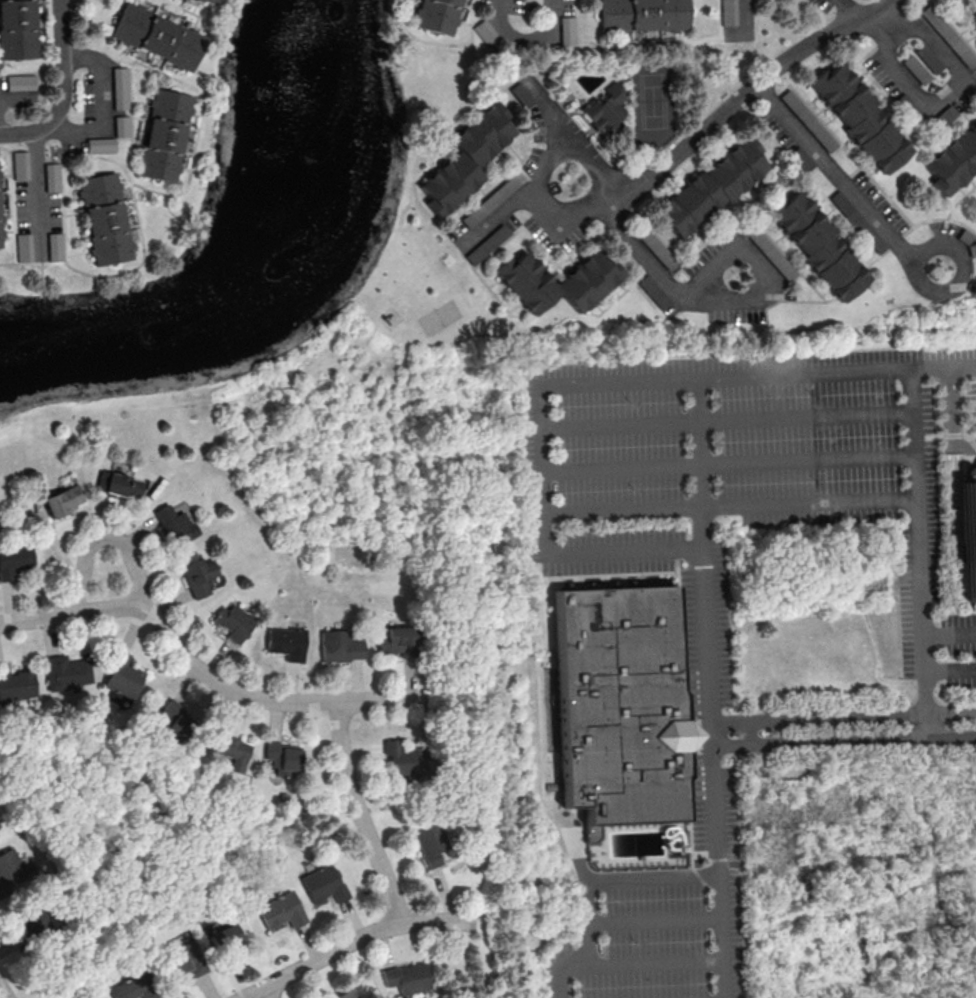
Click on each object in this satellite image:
building: (213, 0)
building: (206, 2)
building: (974, 2)
building: (728, 12)
building: (641, 15)
road: (745, 15)
building: (436, 16)
building: (972, 19)
building: (567, 29)
building: (16, 31)
road: (525, 36)
building: (156, 38)
road: (967, 81)
building: (20, 82)
road: (63, 86)
building: (120, 87)
road: (105, 103)
park: (654, 104)
building: (603, 109)
road: (782, 112)
building: (858, 120)
road: (2, 124)
building: (121, 125)
building: (162, 136)
road: (685, 144)
building: (101, 145)
building: (463, 160)
building: (953, 162)
building: (20, 164)
road: (543, 169)
building: (52, 176)
road: (37, 189)
building: (707, 189)
road: (602, 193)
road: (508, 208)
building: (101, 220)
building: (24, 246)
building: (55, 246)
building: (814, 247)
road: (962, 273)
building: (586, 281)
road: (704, 291)
road: (943, 364)
road: (802, 370)
road: (730, 420)
road: (914, 430)
road: (696, 462)
road: (731, 463)
road: (546, 467)
building: (100, 480)
building: (121, 485)
building: (63, 500)
road: (733, 503)
parking lot: (918, 520)
building: (182, 525)
building: (970, 536)
road: (104, 537)
building: (14, 558)
building: (200, 575)
parking lot: (691, 592)
road: (921, 605)
road: (70, 611)
building: (234, 620)
road: (949, 635)
parking lot: (958, 636)
building: (395, 641)
building: (286, 642)
building: (340, 645)
road: (186, 655)
road: (539, 670)
building: (65, 672)
road: (950, 673)
parking lot: (958, 676)
building: (122, 680)
building: (14, 686)
road: (332, 700)
building: (621, 703)
road: (843, 716)
building: (176, 723)
road: (925, 725)
road: (843, 740)
building: (229, 749)
building: (283, 758)
building: (402, 763)
road: (713, 772)
road: (358, 812)
road: (569, 834)
building: (432, 843)
building: (11, 869)
road: (519, 873)
road: (610, 877)
building: (323, 883)
building: (281, 910)
road: (653, 915)
road: (353, 939)
building: (224, 940)
road: (817, 960)
building: (181, 961)
road: (624, 962)
building: (407, 980)
building: (134, 987)
road: (3, 991)
road: (267, 991)
building: (346, 994)

